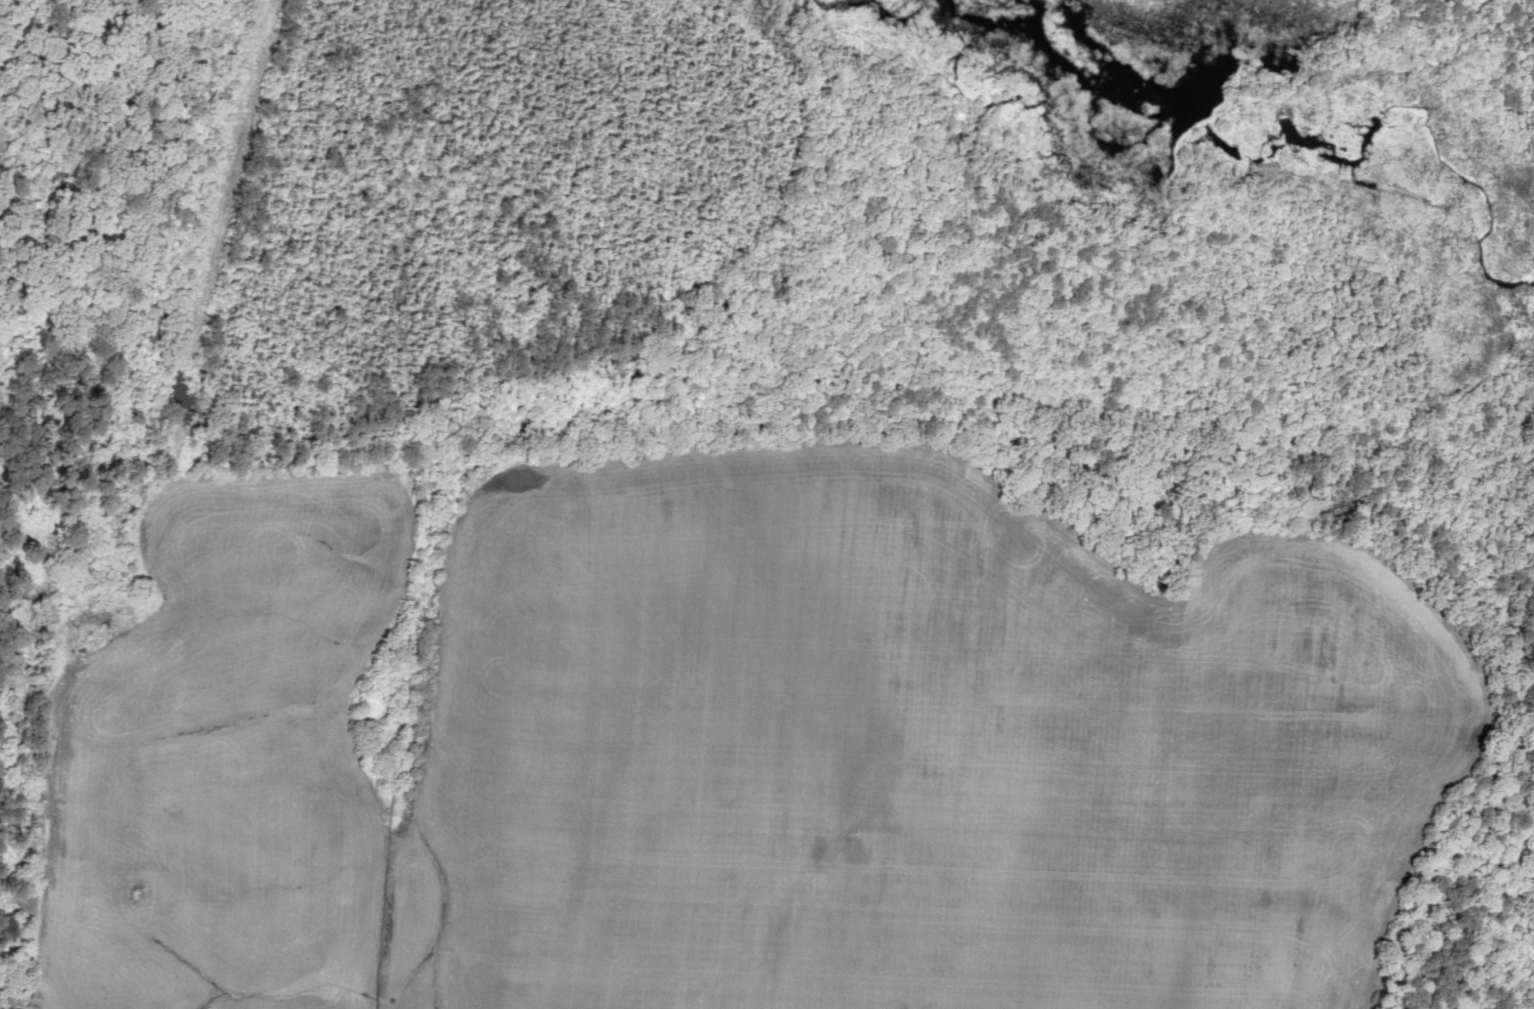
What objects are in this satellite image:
building: (97, 618)
road: (36, 855)

